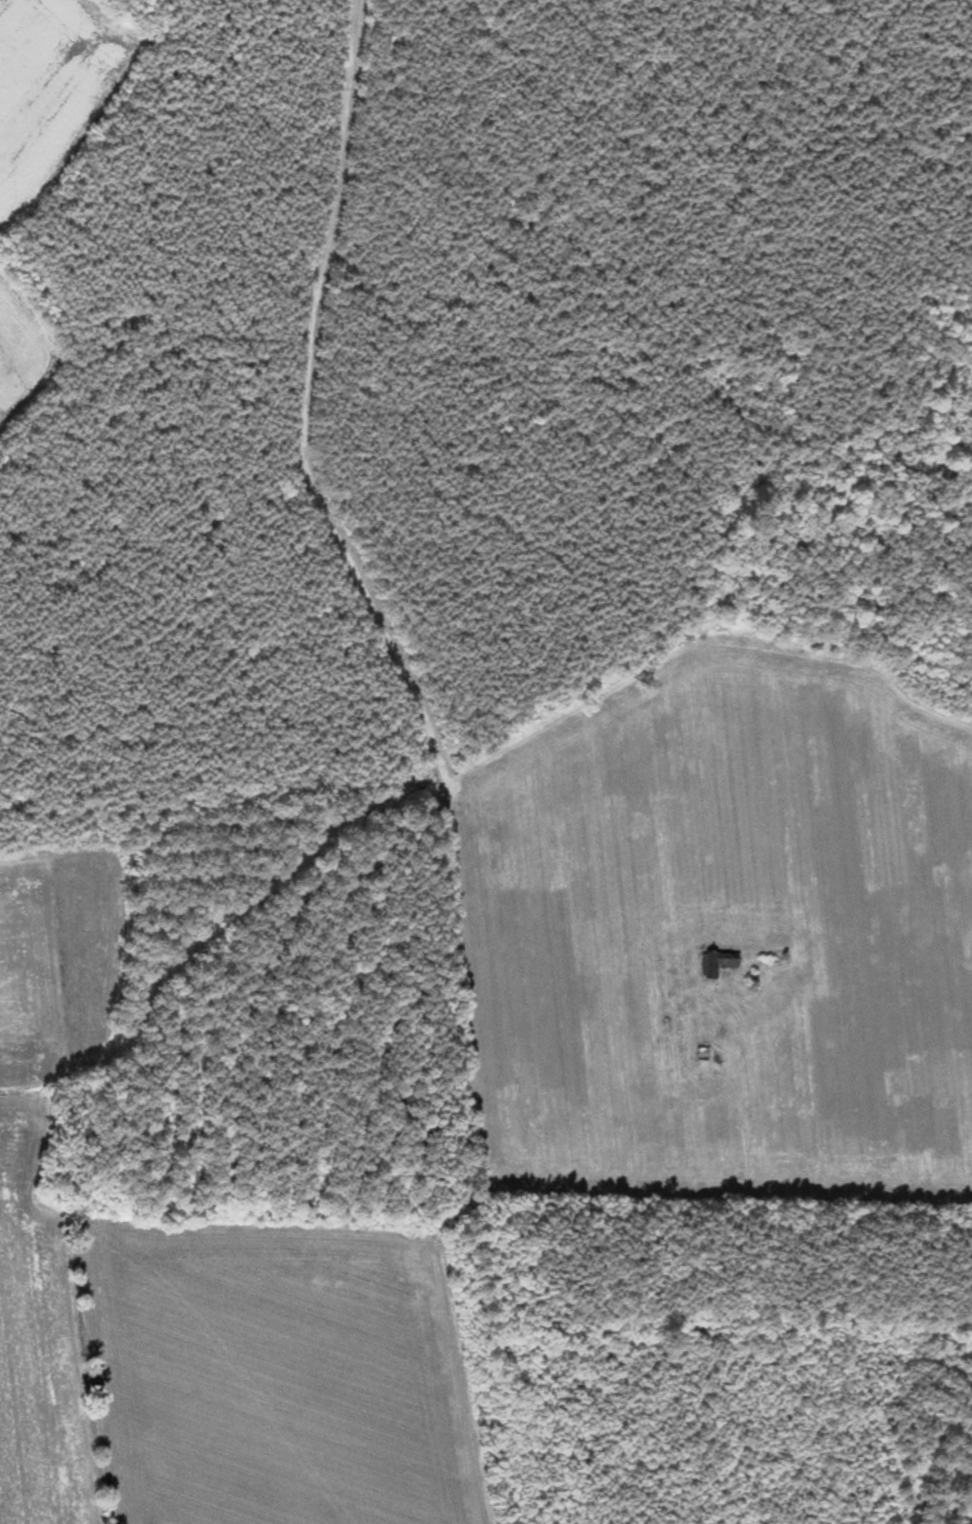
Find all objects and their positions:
road: (377, 579)
building: (713, 961)

